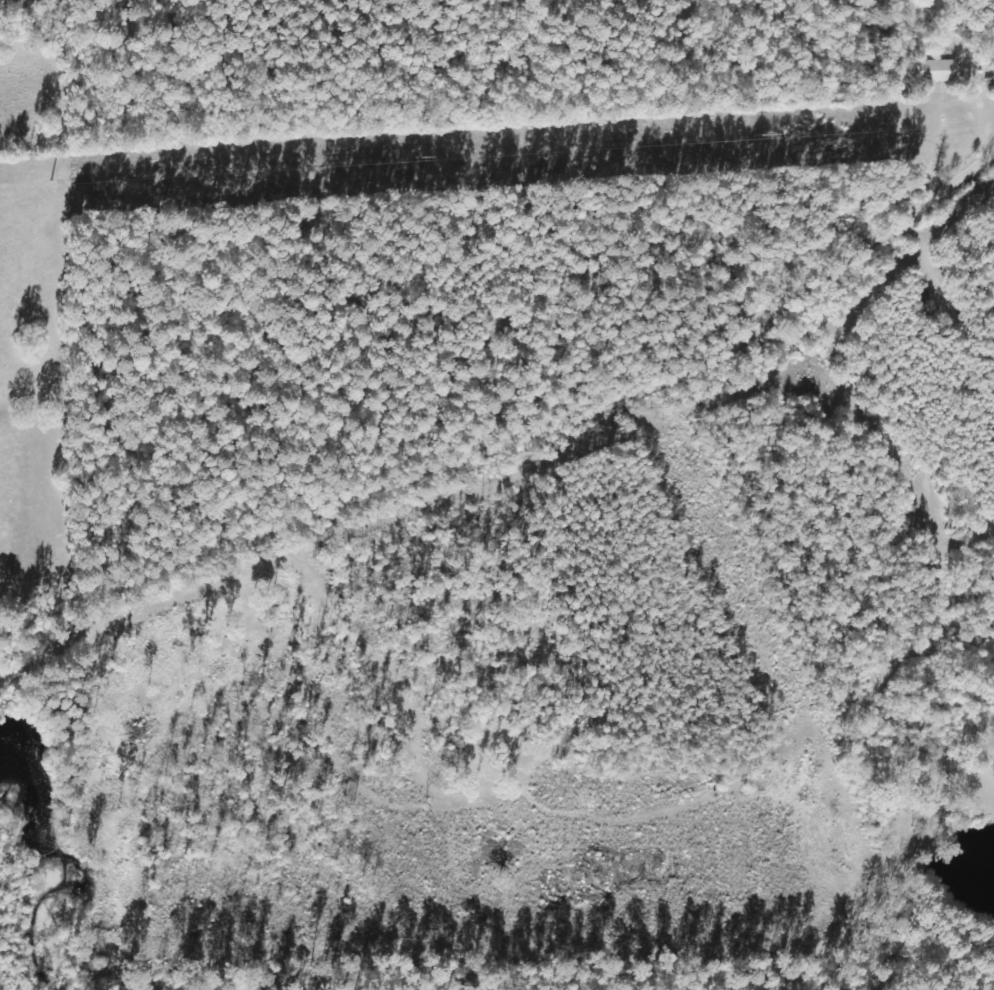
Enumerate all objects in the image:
building: (939, 72)
road: (865, 130)
power tower: (821, 138)
power tower: (553, 155)
power tower: (226, 176)
road: (525, 467)

